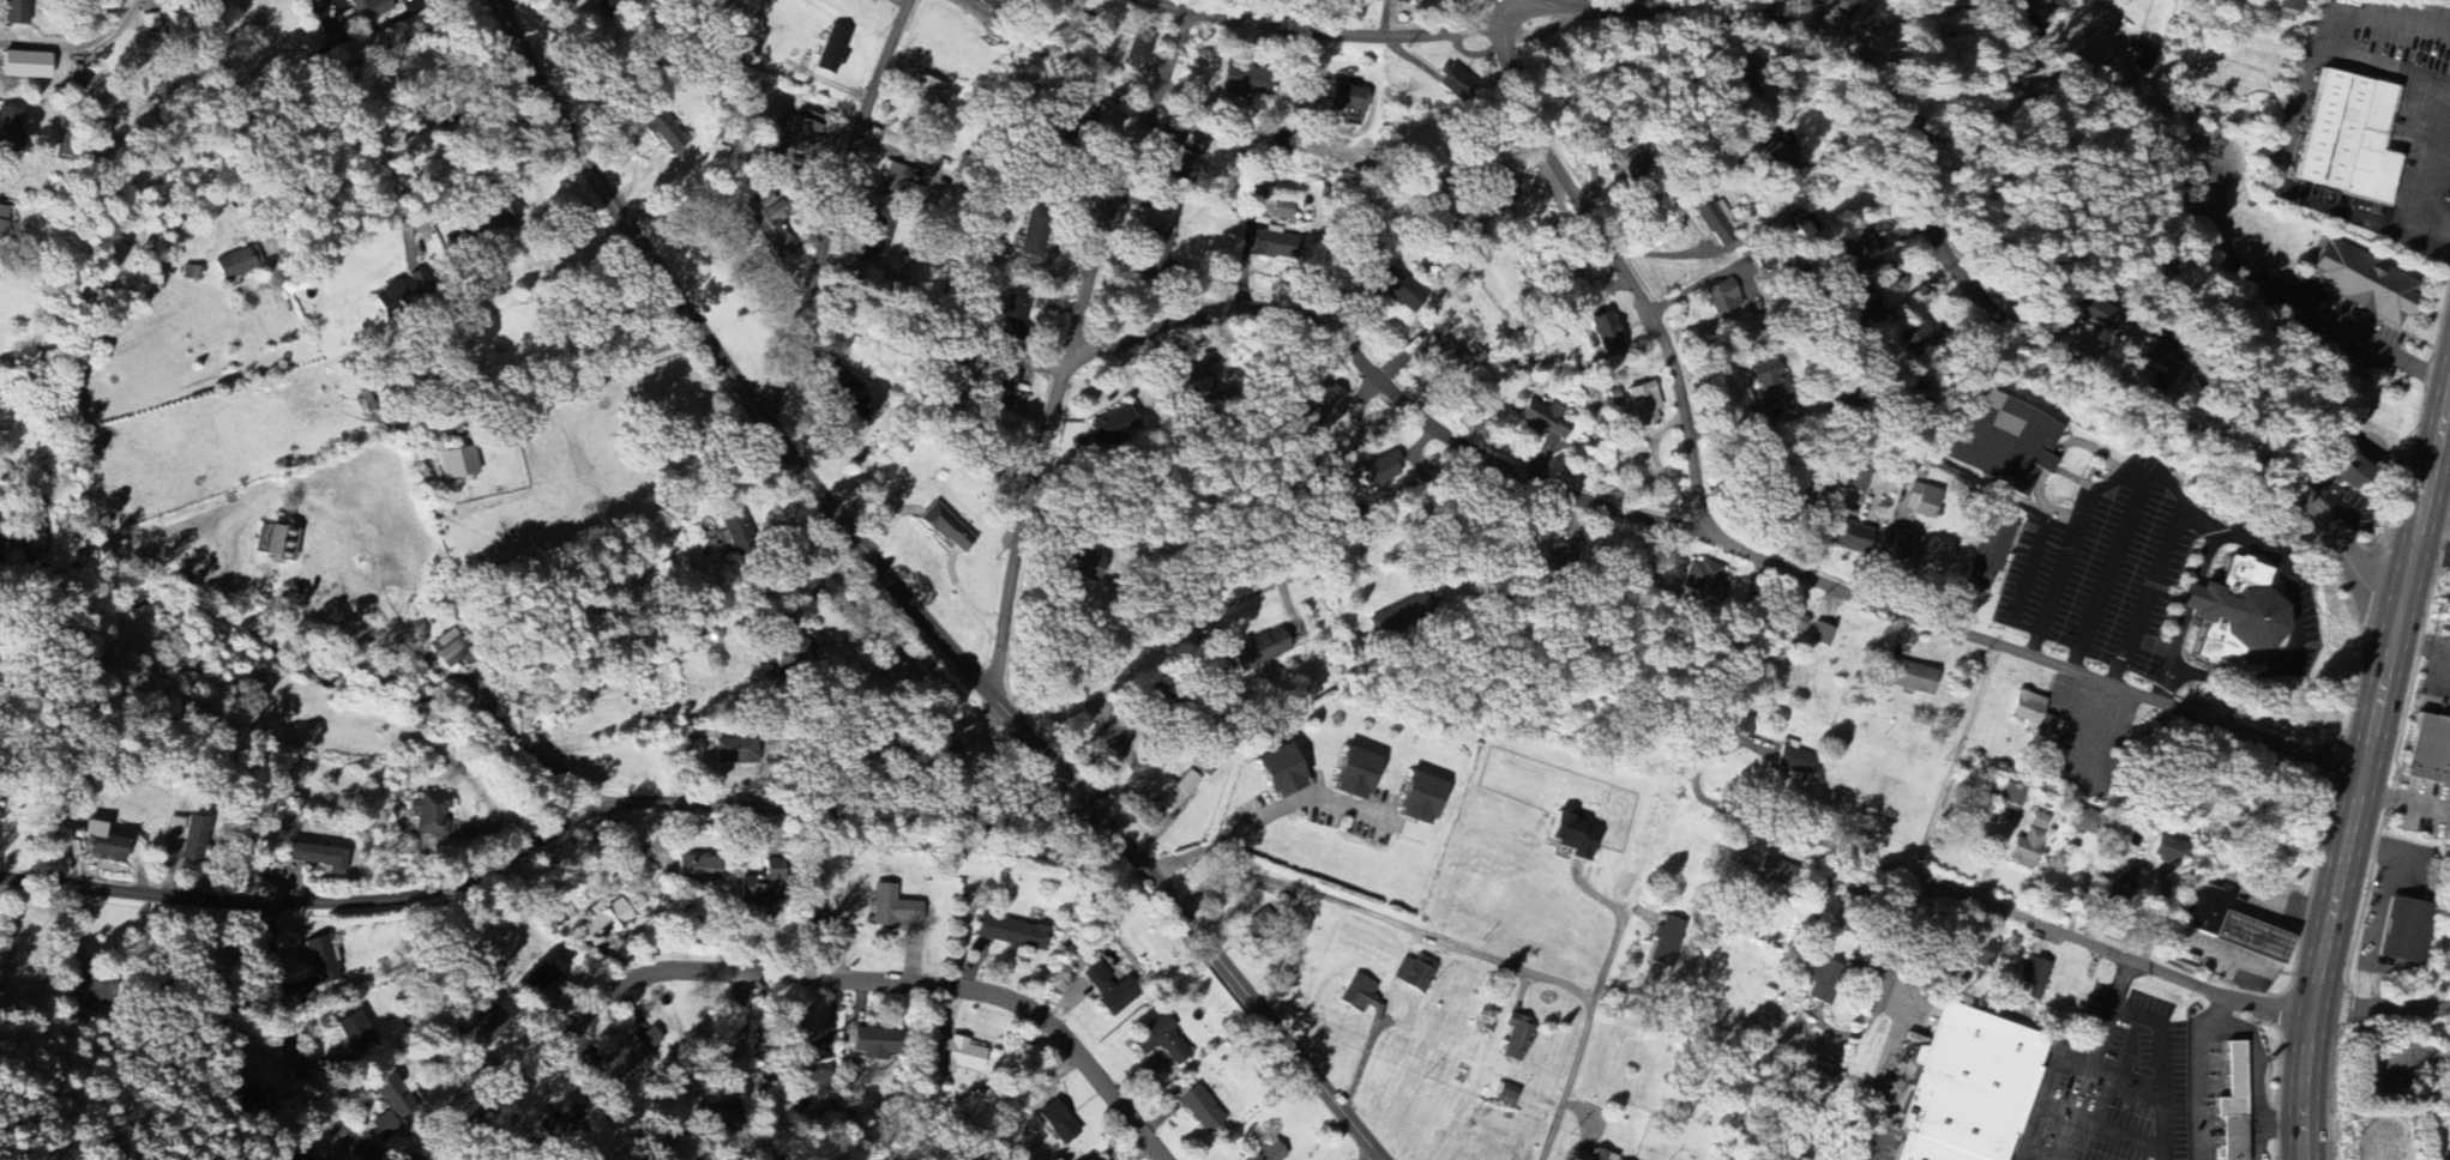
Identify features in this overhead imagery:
building: (609, 0)
building: (1420, 0)
building: (1399, 1)
building: (992, 4)
road: (1582, 5)
building: (1837, 6)
building: (2289, 6)
building: (366, 10)
building: (14, 12)
building: (2022, 19)
building: (998, 23)
road: (1332, 36)
building: (830, 50)
building: (1137, 53)
building: (2142, 58)
building: (23, 66)
building: (1244, 81)
building: (1453, 83)
building: (922, 95)
building: (1347, 98)
building: (1079, 119)
building: (10, 129)
building: (803, 129)
building: (666, 133)
building: (2349, 138)
building: (1185, 162)
building: (1783, 165)
road: (2420, 167)
building: (891, 182)
building: (1500, 191)
road: (833, 207)
building: (1282, 211)
road: (429, 212)
building: (500, 215)
building: (1711, 220)
building: (1, 223)
building: (1802, 226)
building: (770, 229)
building: (875, 236)
building: (1033, 236)
road: (723, 237)
building: (1275, 246)
building: (1859, 246)
building: (1154, 250)
building: (236, 264)
road: (1619, 272)
road: (1970, 282)
building: (2361, 283)
building: (1401, 290)
building: (1727, 303)
building: (1864, 309)
building: (2088, 310)
building: (1012, 314)
building: (1912, 333)
building: (1605, 334)
road: (1069, 349)
road: (1828, 355)
building: (1446, 358)
building: (2167, 358)
road: (573, 375)
building: (1193, 381)
road: (1380, 383)
building: (1000, 389)
building: (1770, 389)
building: (848, 392)
building: (1326, 403)
building: (1134, 410)
building: (1641, 410)
building: (1542, 418)
building: (1112, 425)
building: (2003, 443)
building: (456, 464)
building: (2343, 469)
building: (1379, 471)
road: (2150, 476)
building: (1855, 479)
building: (1921, 501)
road: (2197, 519)
building: (946, 528)
building: (735, 530)
building: (1846, 537)
building: (278, 543)
building: (1906, 552)
building: (1987, 554)
road: (2203, 560)
building: (1080, 564)
road: (2108, 573)
building: (1704, 580)
road: (1256, 582)
road: (2191, 597)
road: (910, 602)
building: (2235, 614)
building: (1401, 617)
road: (779, 622)
building: (1786, 623)
building: (1819, 634)
road: (2293, 638)
road: (2175, 642)
building: (1259, 651)
building: (449, 652)
building: (790, 654)
road: (2027, 654)
building: (1908, 677)
road: (2159, 690)
road: (477, 700)
building: (2027, 709)
building: (735, 751)
building: (2430, 751)
building: (1792, 761)
road: (1956, 761)
road: (2359, 769)
building: (1281, 772)
building: (1354, 774)
building: (1178, 791)
building: (2010, 796)
building: (1420, 799)
building: (429, 815)
road: (1271, 815)
road: (1742, 817)
building: (2039, 821)
building: (2088, 822)
road: (547, 836)
building: (1573, 836)
building: (192, 840)
building: (102, 844)
building: (2025, 850)
building: (2168, 851)
building: (317, 857)
building: (696, 869)
building: (1776, 871)
building: (763, 886)
building: (2120, 886)
building: (1850, 898)
building: (892, 908)
road: (1383, 919)
building: (603, 922)
road: (1621, 925)
building: (2232, 926)
building: (2404, 931)
building: (1012, 934)
building: (1665, 942)
road: (1895, 948)
road: (2109, 949)
building: (1979, 951)
building: (321, 961)
building: (542, 974)
building: (1416, 974)
road: (779, 977)
building: (2033, 977)
building: (1823, 983)
building: (91, 986)
building: (1110, 991)
building: (1358, 993)
road: (2379, 1009)
building: (489, 1025)
building: (353, 1033)
building: (1516, 1038)
building: (1160, 1040)
road: (742, 1041)
road: (2161, 1043)
building: (878, 1045)
road: (1366, 1045)
road: (291, 1053)
building: (958, 1056)
building: (625, 1059)
road: (2053, 1061)
building: (801, 1062)
road: (2198, 1070)
road: (1879, 1071)
road: (2257, 1076)
road: (1573, 1079)
road: (2126, 1079)
building: (1967, 1088)
building: (239, 1090)
building: (391, 1095)
building: (2234, 1105)
building: (1200, 1110)
building: (723, 1120)
road: (2277, 1120)
building: (558, 1123)
building: (1057, 1123)
road: (2100, 1124)
building: (1268, 1152)
road: (2034, 1155)
building: (291, 1156)
road: (1373, 1156)
building: (1594, 1156)

